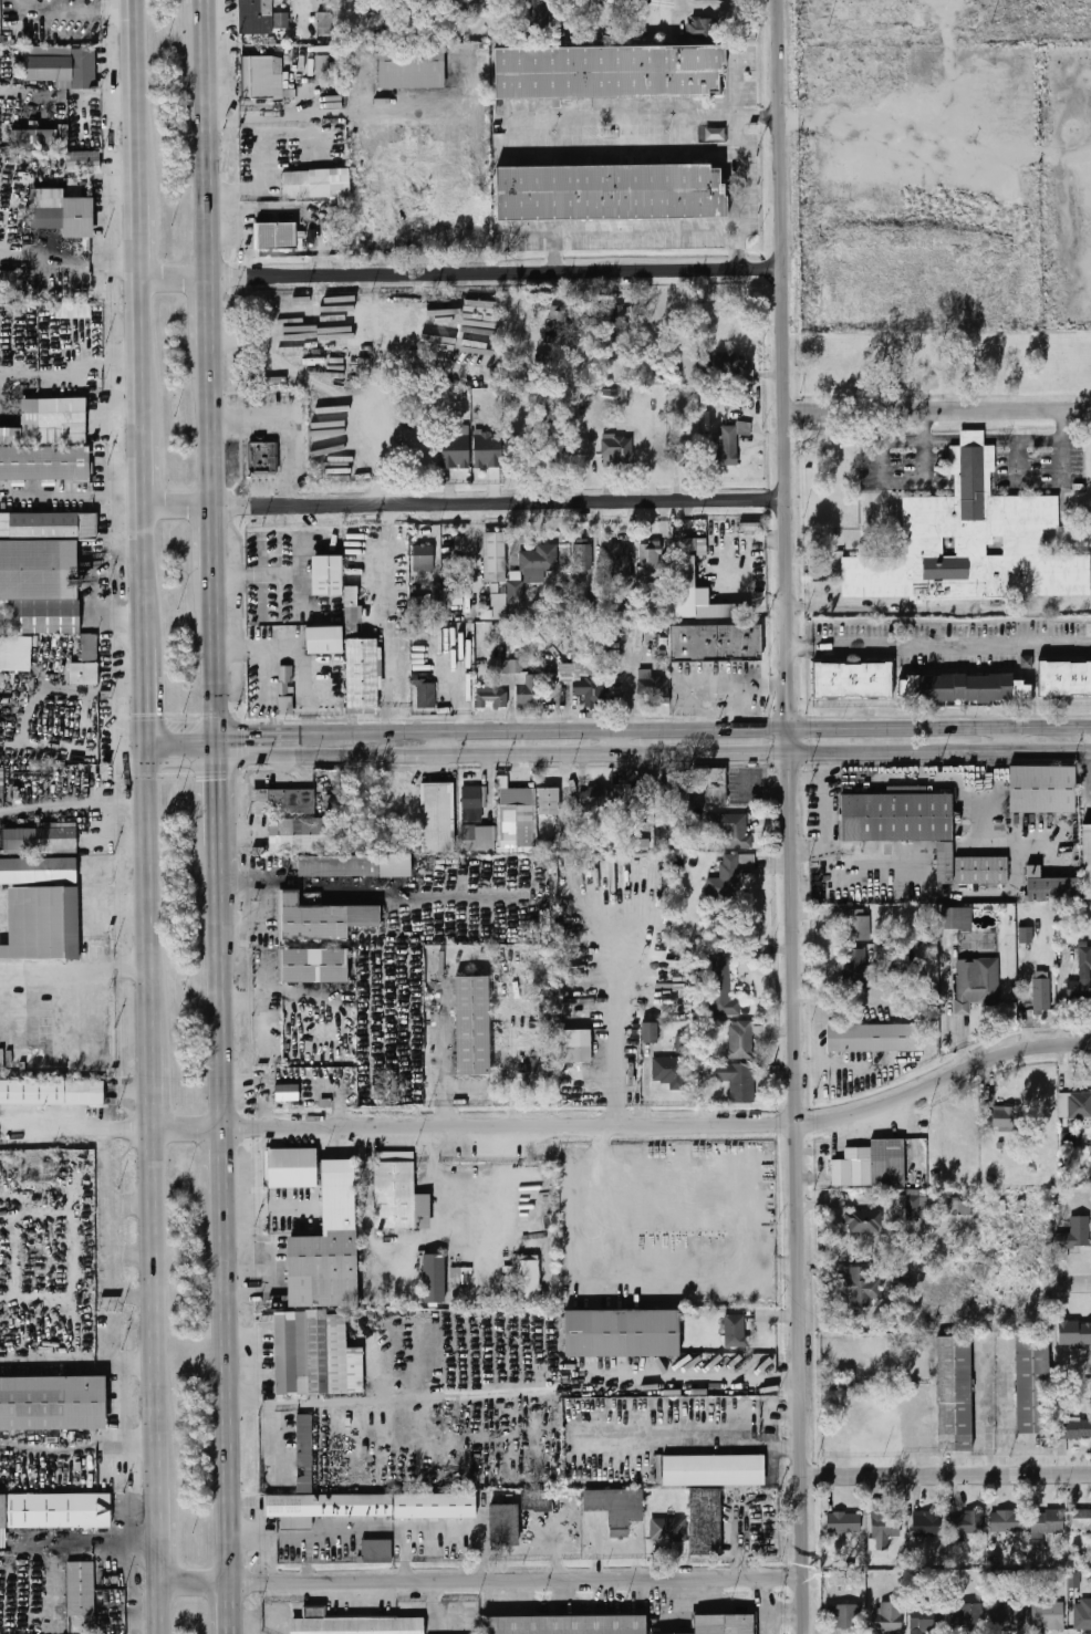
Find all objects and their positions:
building: (711, 0)
building: (476, 1)
road: (205, 2)
road: (302, 10)
building: (540, 12)
building: (254, 17)
building: (281, 22)
building: (324, 23)
building: (702, 27)
building: (321, 63)
building: (61, 66)
building: (411, 67)
building: (607, 73)
building: (260, 79)
road: (734, 83)
road: (139, 101)
road: (648, 116)
road: (509, 133)
building: (63, 137)
building: (34, 140)
road: (209, 142)
road: (624, 147)
building: (82, 162)
road: (936, 174)
building: (314, 184)
road: (738, 191)
building: (609, 194)
building: (61, 212)
road: (621, 222)
building: (274, 237)
road: (144, 240)
road: (90, 266)
road: (464, 273)
building: (10, 281)
building: (73, 311)
road: (215, 313)
building: (557, 322)
building: (621, 322)
road: (146, 355)
building: (738, 368)
road: (938, 412)
road: (289, 425)
road: (217, 427)
road: (277, 434)
building: (51, 445)
building: (455, 447)
building: (617, 449)
building: (486, 450)
building: (678, 451)
building: (728, 451)
building: (557, 452)
building: (260, 456)
road: (148, 468)
road: (896, 483)
road: (1038, 486)
road: (267, 489)
road: (467, 503)
building: (970, 537)
road: (475, 541)
road: (219, 543)
building: (650, 556)
building: (423, 558)
building: (495, 558)
building: (539, 559)
building: (582, 560)
building: (617, 561)
building: (685, 563)
building: (42, 569)
road: (149, 575)
building: (325, 575)
building: (515, 590)
building: (428, 602)
building: (352, 605)
building: (498, 607)
building: (623, 607)
building: (721, 611)
road: (876, 611)
building: (323, 641)
building: (397, 641)
building: (718, 643)
road: (952, 643)
road: (800, 645)
building: (14, 654)
road: (220, 662)
building: (85, 663)
building: (284, 674)
building: (362, 674)
building: (1066, 674)
building: (854, 678)
building: (589, 680)
parking lot: (719, 686)
building: (967, 688)
building: (653, 689)
building: (524, 690)
road: (149, 691)
building: (426, 696)
building: (492, 699)
building: (284, 706)
building: (8, 712)
traffic signals: (150, 712)
road: (723, 728)
road: (319, 731)
road: (1010, 739)
road: (186, 741)
traffic signals: (247, 742)
road: (254, 742)
road: (440, 742)
road: (615, 742)
road: (723, 752)
road: (319, 754)
traffic signals: (224, 780)
building: (1, 782)
building: (675, 787)
building: (710, 787)
building: (1045, 791)
road: (224, 793)
building: (593, 797)
building: (283, 802)
building: (549, 802)
building: (472, 804)
road: (792, 816)
building: (437, 818)
building: (900, 818)
building: (517, 826)
building: (731, 829)
building: (302, 836)
building: (478, 837)
building: (39, 840)
building: (1088, 862)
building: (946, 863)
road: (224, 865)
road: (149, 866)
building: (340, 866)
building: (984, 871)
building: (729, 874)
building: (1061, 892)
building: (41, 908)
building: (957, 918)
building: (322, 919)
building: (858, 925)
building: (1026, 935)
park: (979, 944)
building: (314, 966)
road: (75, 967)
building: (855, 968)
building: (1081, 978)
building: (977, 983)
building: (721, 990)
building: (1042, 993)
road: (226, 1008)
road: (153, 1019)
road: (616, 1020)
building: (472, 1026)
building: (574, 1027)
building: (648, 1033)
building: (874, 1038)
building: (742, 1039)
building: (668, 1070)
building: (536, 1073)
building: (737, 1081)
road: (268, 1083)
road: (155, 1086)
building: (51, 1093)
building: (285, 1093)
building: (1080, 1106)
building: (1002, 1117)
road: (89, 1122)
road: (630, 1126)
building: (872, 1165)
building: (292, 1167)
road: (228, 1170)
building: (339, 1173)
building: (398, 1191)
building: (915, 1207)
building: (955, 1207)
building: (341, 1208)
building: (864, 1222)
building: (1070, 1234)
building: (322, 1269)
road: (1071, 1276)
building: (434, 1278)
building: (528, 1280)
building: (861, 1286)
road: (159, 1308)
building: (736, 1332)
building: (621, 1333)
building: (1073, 1333)
building: (315, 1354)
building: (1031, 1384)
road: (476, 1394)
building: (954, 1394)
road: (233, 1397)
building: (51, 1403)
road: (1004, 1411)
building: (1074, 1428)
road: (704, 1445)
road: (1029, 1448)
building: (304, 1454)
road: (1000, 1461)
building: (713, 1470)
road: (946, 1477)
building: (538, 1500)
building: (366, 1507)
building: (616, 1508)
building: (54, 1511)
building: (705, 1521)
building: (1081, 1521)
building: (1008, 1522)
building: (844, 1523)
building: (926, 1523)
building: (968, 1524)
building: (503, 1526)
building: (1046, 1526)
building: (543, 1528)
building: (669, 1530)
building: (884, 1530)
road: (164, 1536)
building: (376, 1551)
road: (485, 1582)
building: (81, 1589)
road: (768, 1606)
road: (717, 1609)
road: (788, 1609)
road: (163, 1610)
road: (232, 1610)
building: (967, 1615)
building: (844, 1616)
building: (1008, 1616)
building: (1048, 1616)
building: (1082, 1616)
building: (889, 1619)
building: (926, 1620)
building: (725, 1624)
building: (564, 1625)
building: (357, 1626)

